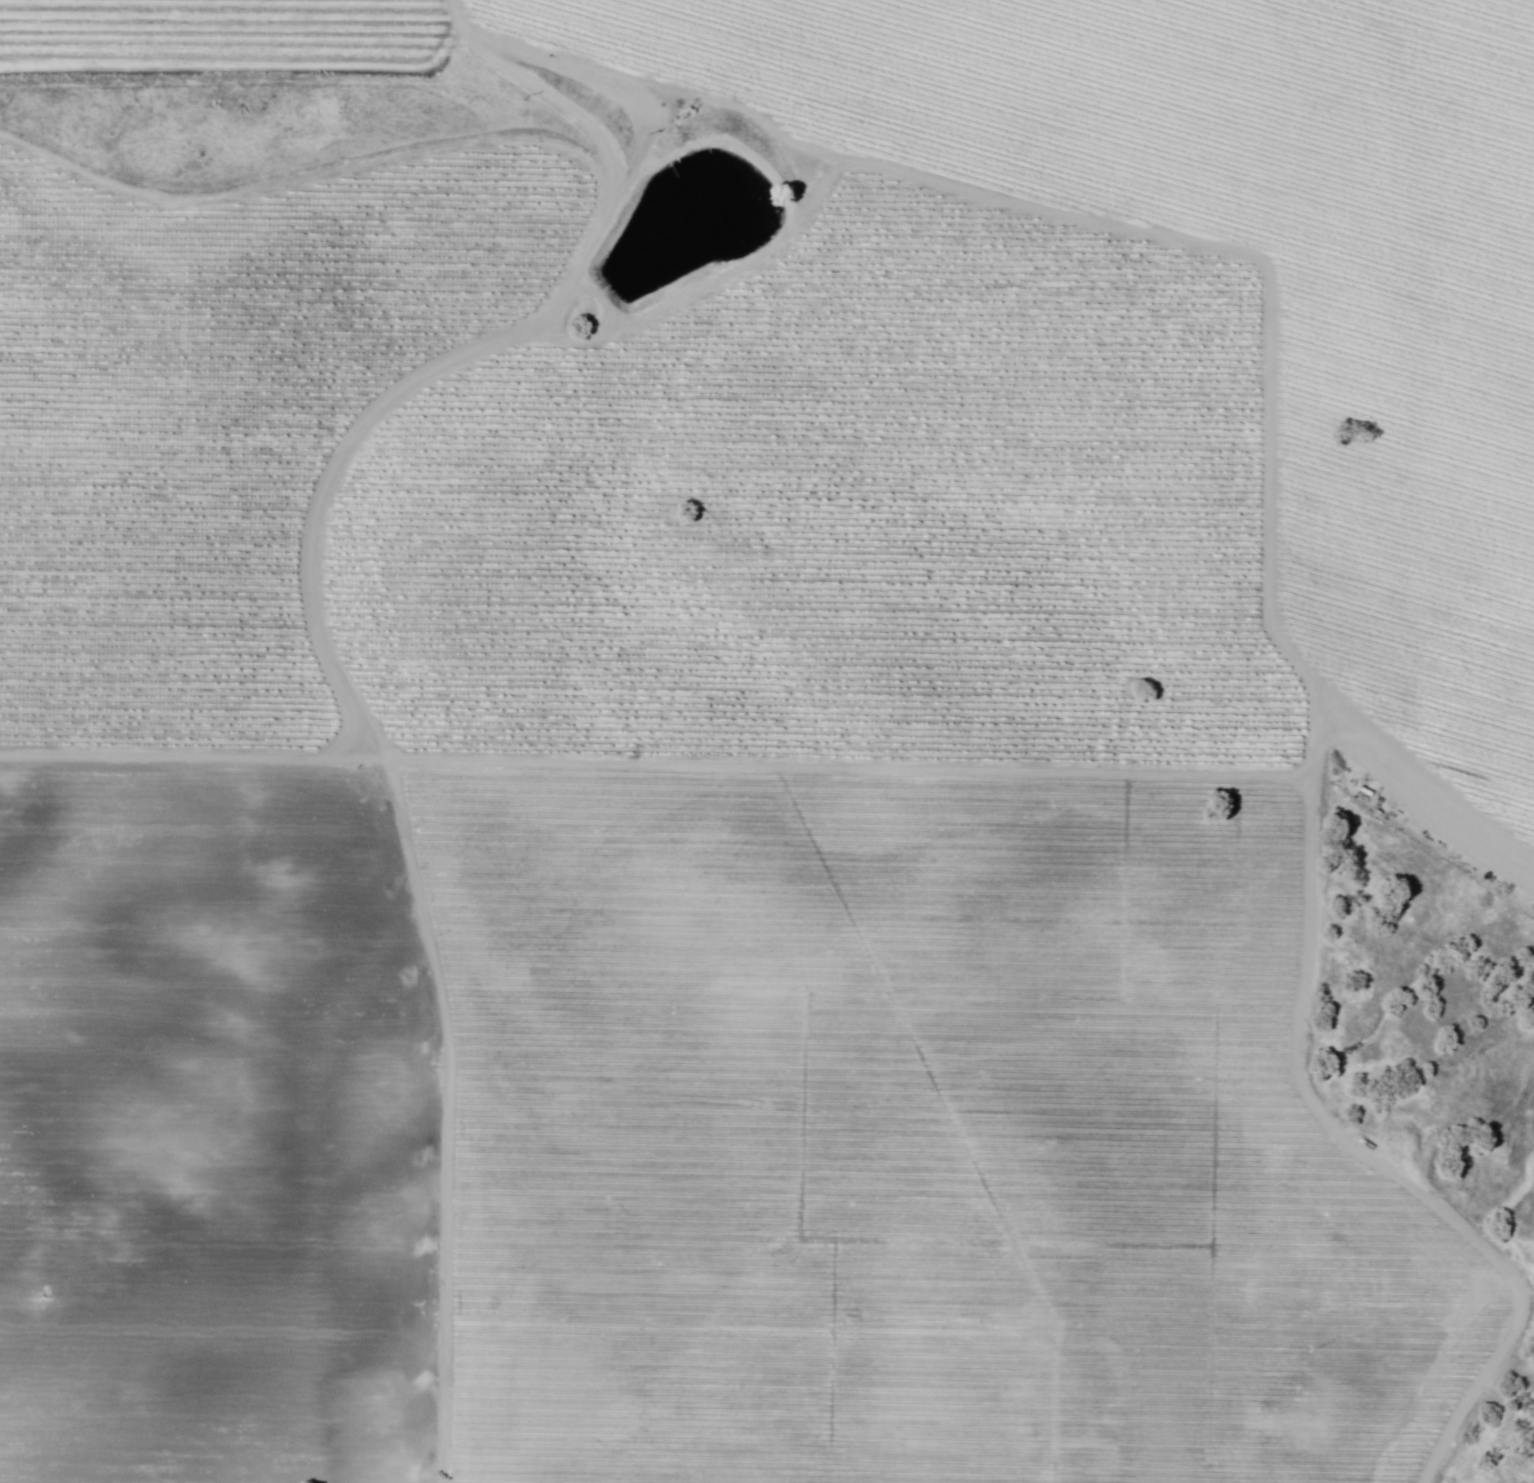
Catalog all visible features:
crop: (222, 35)
crop: (1408, 452)

